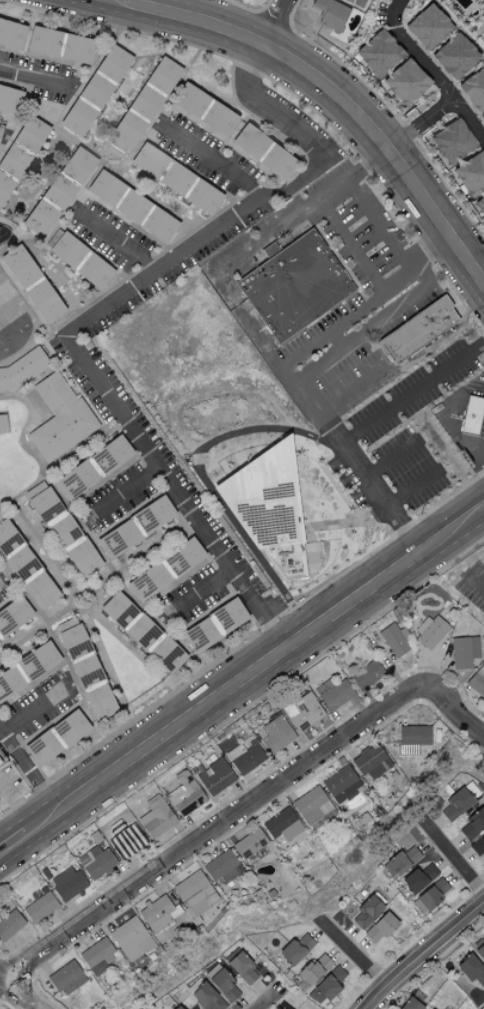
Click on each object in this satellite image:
building: (349, 0)
building: (330, 13)
road: (279, 23)
building: (428, 26)
building: (11, 33)
building: (43, 40)
building: (77, 48)
building: (379, 52)
building: (455, 55)
building: (113, 62)
road: (429, 71)
building: (163, 74)
road: (35, 78)
building: (406, 81)
building: (474, 88)
building: (94, 90)
road: (327, 95)
building: (8, 97)
building: (189, 99)
building: (76, 117)
building: (134, 117)
building: (218, 118)
building: (482, 118)
building: (30, 133)
road: (3, 138)
building: (250, 140)
building: (453, 140)
building: (149, 159)
building: (12, 160)
road: (210, 160)
building: (277, 162)
building: (78, 164)
road: (334, 168)
building: (471, 173)
building: (176, 178)
building: (4, 187)
building: (202, 196)
building: (480, 204)
building: (48, 205)
building: (132, 205)
road: (377, 222)
road: (117, 243)
road: (349, 243)
building: (65, 247)
road: (248, 248)
building: (19, 265)
road: (479, 266)
building: (94, 271)
building: (299, 289)
road: (366, 299)
building: (44, 301)
road: (397, 308)
road: (98, 310)
building: (423, 334)
road: (332, 359)
building: (22, 369)
road: (353, 389)
building: (59, 417)
building: (475, 420)
building: (2, 422)
road: (356, 429)
building: (110, 454)
road: (478, 454)
road: (392, 457)
building: (75, 479)
road: (415, 488)
road: (122, 492)
building: (264, 499)
building: (152, 513)
building: (51, 514)
building: (7, 536)
building: (120, 537)
building: (82, 557)
building: (22, 564)
building: (165, 569)
road: (474, 582)
building: (40, 590)
road: (195, 591)
building: (117, 609)
building: (13, 615)
building: (214, 625)
building: (141, 631)
building: (431, 631)
building: (71, 638)
building: (395, 639)
building: (464, 652)
building: (166, 654)
building: (37, 660)
building: (85, 671)
road: (255, 671)
building: (367, 674)
building: (477, 681)
building: (9, 682)
building: (334, 693)
building: (99, 702)
road: (32, 710)
building: (304, 712)
road: (461, 714)
building: (70, 727)
building: (276, 734)
building: (412, 738)
building: (41, 748)
building: (245, 757)
building: (2, 759)
building: (372, 762)
road: (28, 771)
building: (215, 776)
building: (341, 784)
building: (185, 794)
road: (18, 801)
building: (460, 801)
building: (312, 805)
building: (157, 818)
building: (473, 824)
building: (283, 825)
road: (217, 830)
building: (127, 839)
road: (13, 844)
building: (250, 844)
building: (477, 844)
road: (3, 845)
road: (453, 859)
building: (401, 861)
building: (99, 862)
building: (223, 867)
building: (419, 878)
building: (68, 883)
building: (432, 893)
building: (196, 894)
building: (40, 907)
building: (367, 911)
building: (159, 912)
building: (10, 924)
building: (380, 928)
building: (131, 938)
building: (296, 949)
building: (480, 951)
road: (352, 953)
road: (422, 954)
building: (98, 956)
building: (242, 968)
building: (314, 969)
building: (471, 969)
building: (67, 978)
building: (223, 983)
building: (327, 986)
road: (16, 996)
building: (208, 997)
road: (266, 1000)
building: (410, 1004)
road: (4, 1006)
building: (177, 1007)

